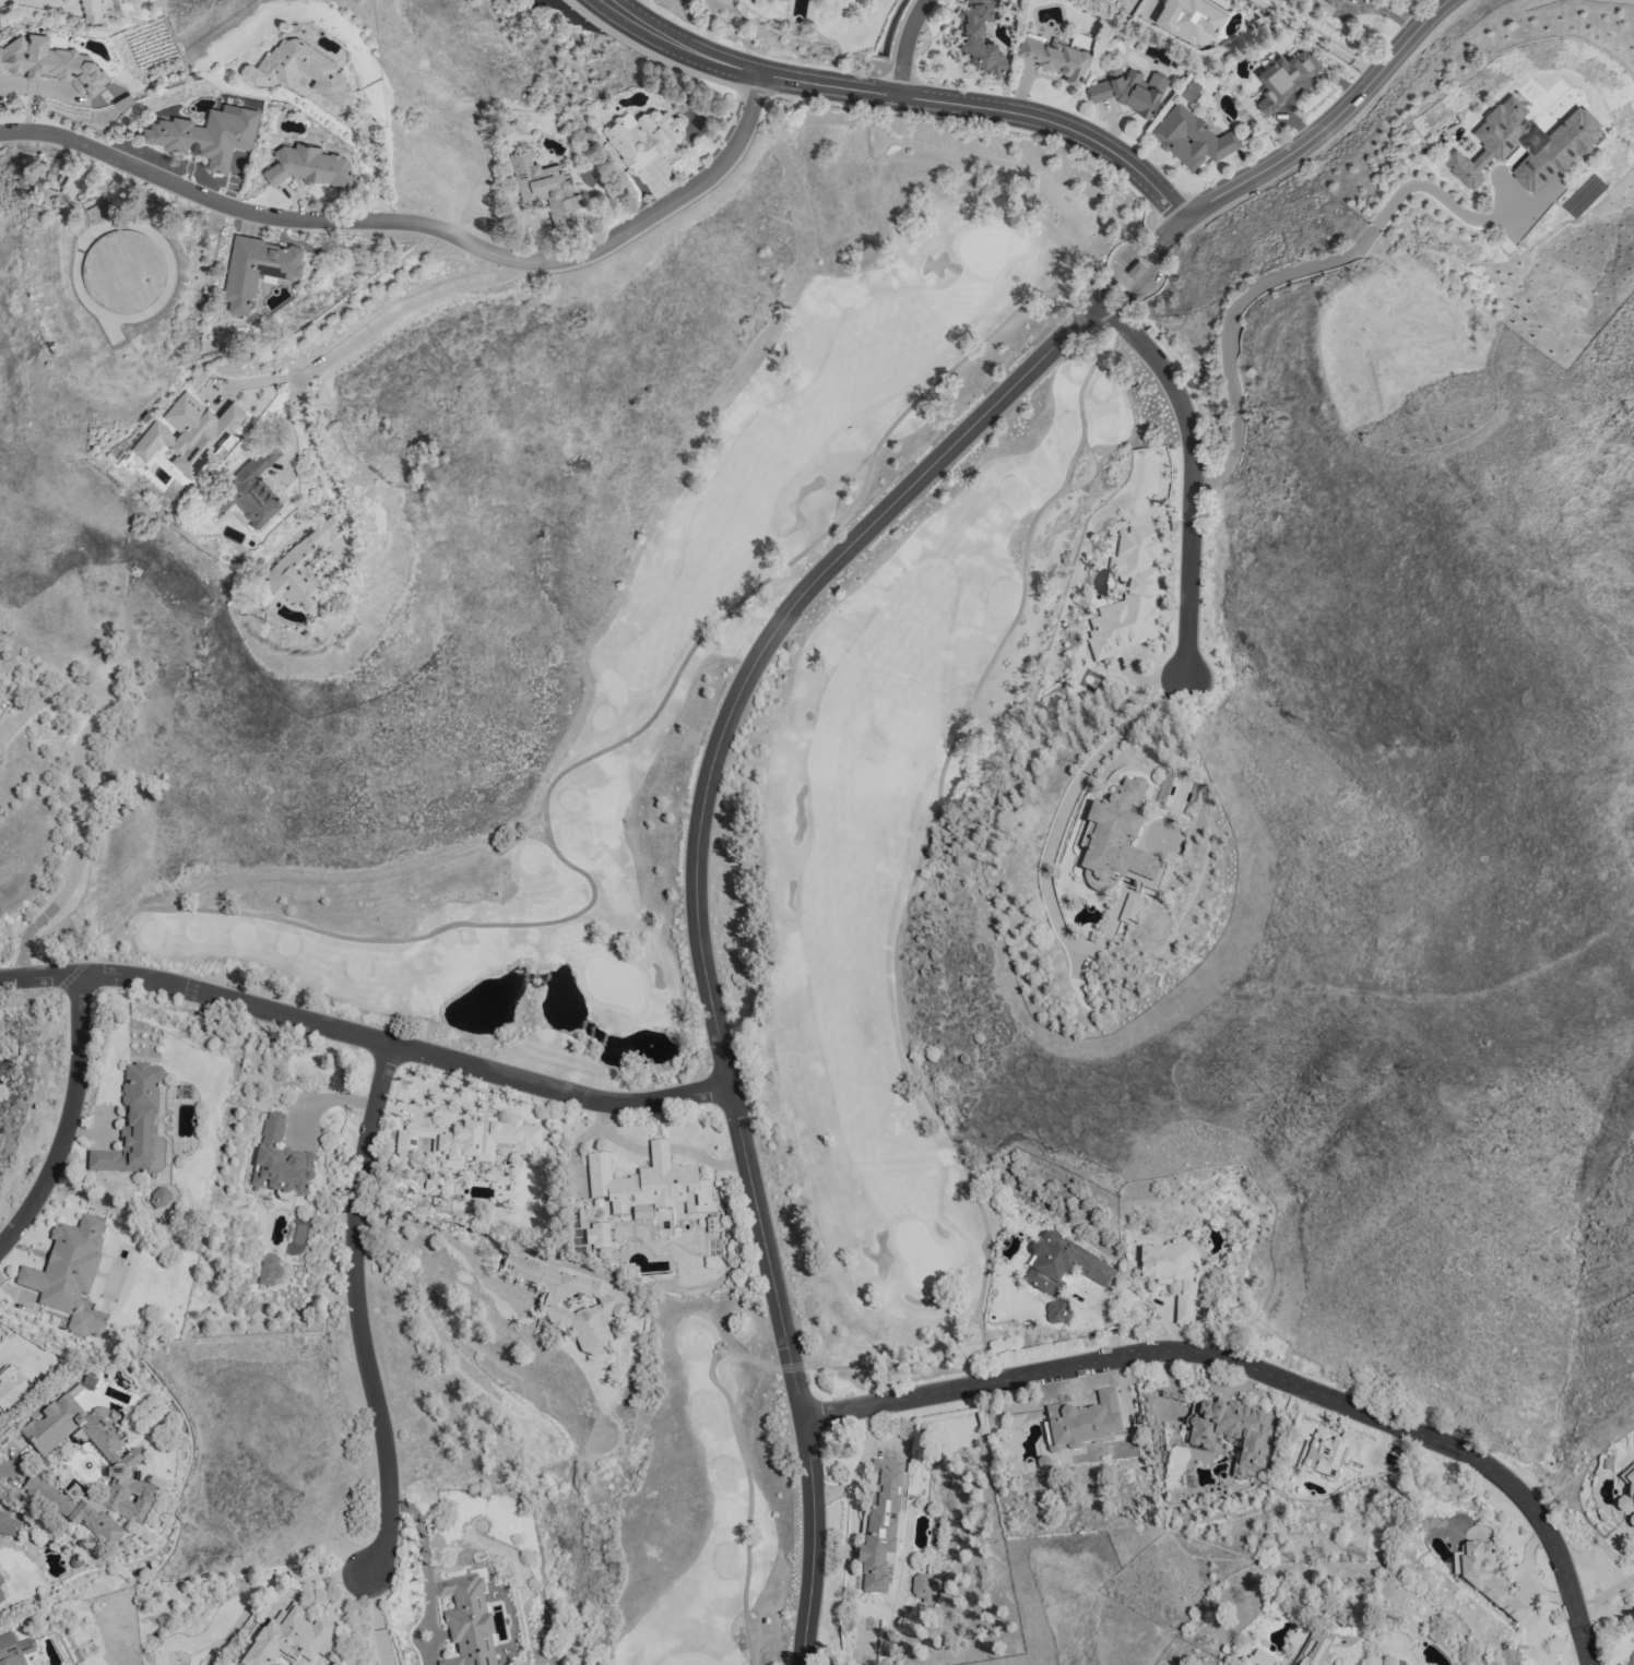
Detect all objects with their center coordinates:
building: (785, 0)
building: (1121, 0)
building: (1334, 2)
building: (90, 11)
building: (979, 37)
road: (1313, 38)
road: (909, 48)
building: (1056, 56)
building: (50, 63)
building: (268, 74)
building: (1129, 91)
building: (1189, 91)
road: (896, 99)
building: (205, 134)
road: (1313, 134)
building: (641, 138)
building: (1191, 139)
building: (1525, 145)
road: (371, 157)
road: (980, 158)
building: (309, 166)
building: (542, 186)
building: (561, 223)
road: (419, 224)
park: (986, 250)
road: (1129, 259)
building: (256, 269)
building: (1134, 270)
road: (1146, 272)
road: (1271, 277)
road: (1106, 294)
road: (1113, 299)
road: (404, 310)
building: (187, 432)
road: (308, 441)
road: (1188, 474)
road: (1086, 476)
building: (304, 564)
building: (1127, 596)
road: (76, 781)
road: (545, 785)
park: (731, 818)
road: (1054, 832)
building: (1114, 841)
road: (487, 844)
building: (1128, 908)
road: (698, 915)
road: (367, 1038)
road: (904, 1058)
road: (328, 1097)
road: (67, 1118)
building: (133, 1127)
building: (466, 1142)
building: (280, 1163)
building: (647, 1186)
building: (436, 1188)
building: (158, 1196)
building: (595, 1237)
road: (450, 1238)
building: (1062, 1264)
building: (270, 1269)
building: (67, 1273)
building: (1170, 1273)
building: (573, 1304)
building: (1056, 1311)
road: (360, 1313)
park: (331, 1342)
road: (1264, 1371)
building: (10, 1388)
building: (1081, 1420)
building: (1230, 1430)
building: (1330, 1452)
building: (121, 1460)
road: (8, 1462)
building: (1626, 1494)
building: (73, 1511)
building: (880, 1522)
building: (8, 1526)
building: (1487, 1579)
building: (0, 1582)
building: (919, 1585)
road: (265, 1589)
road: (426, 1590)
road: (1603, 1592)
building: (0, 1599)
road: (374, 1620)
building: (465, 1620)
building: (292, 1639)
building: (1327, 1649)
building: (14, 1651)
building: (1257, 1658)
building: (1629, 1661)
building: (1401, 1663)

